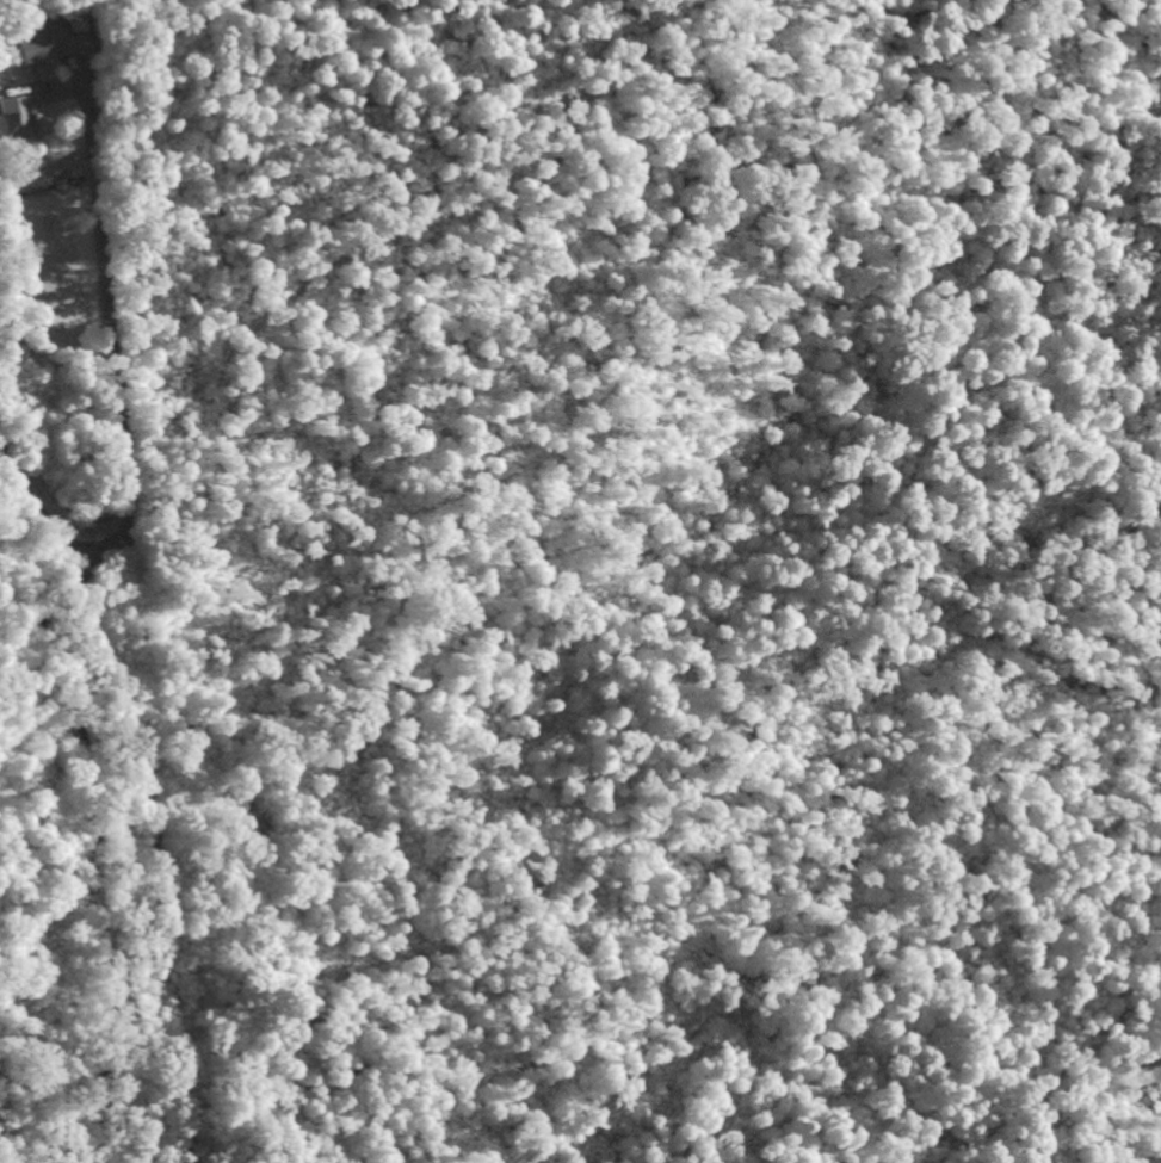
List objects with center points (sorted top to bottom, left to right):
building: (43, 44)
building: (12, 119)
road: (94, 545)
road: (82, 611)
road: (137, 618)
road: (1155, 1051)
building: (1137, 1114)

